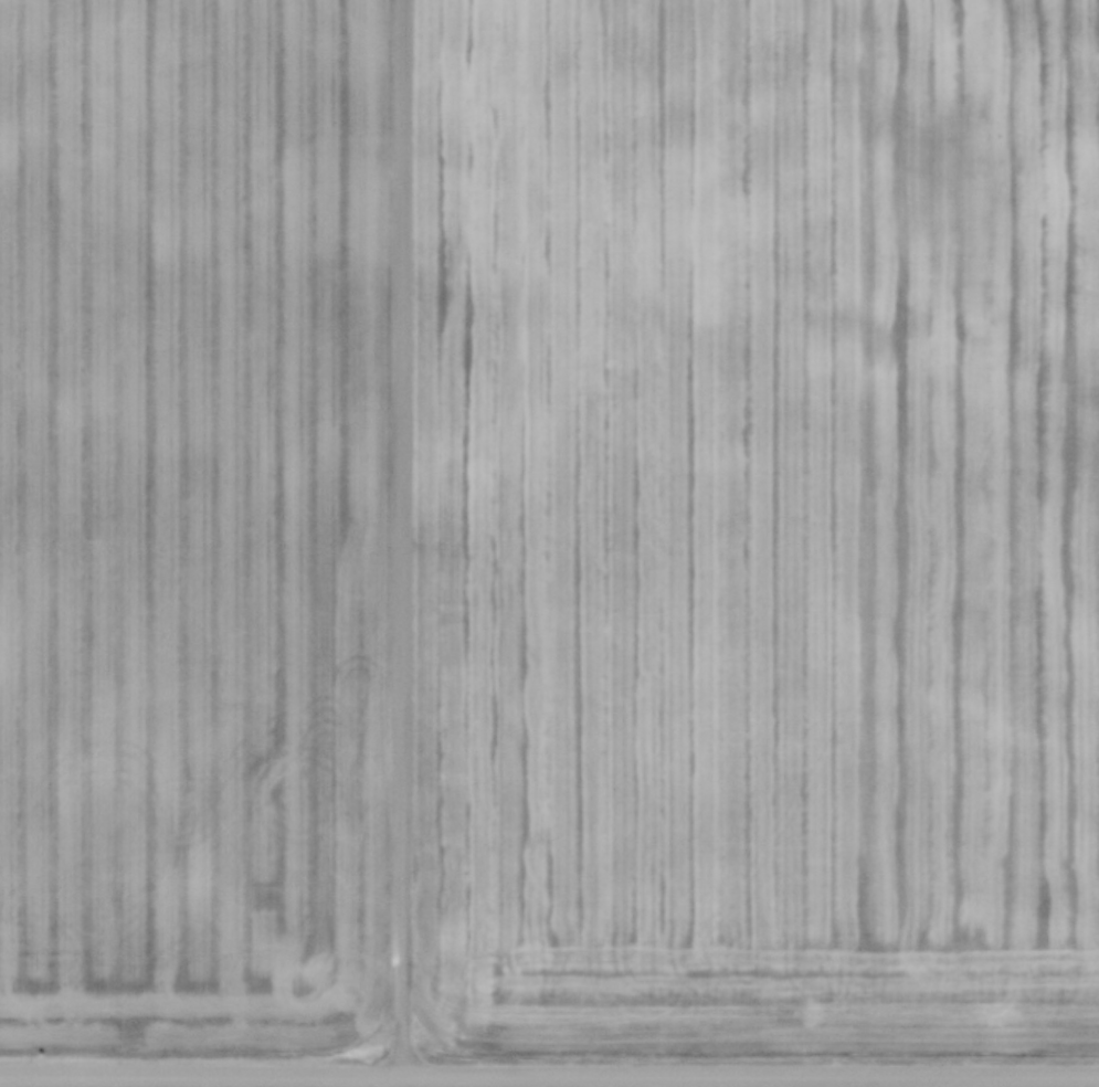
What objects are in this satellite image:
road: (401, 537)
road: (549, 1073)
road: (404, 1080)

